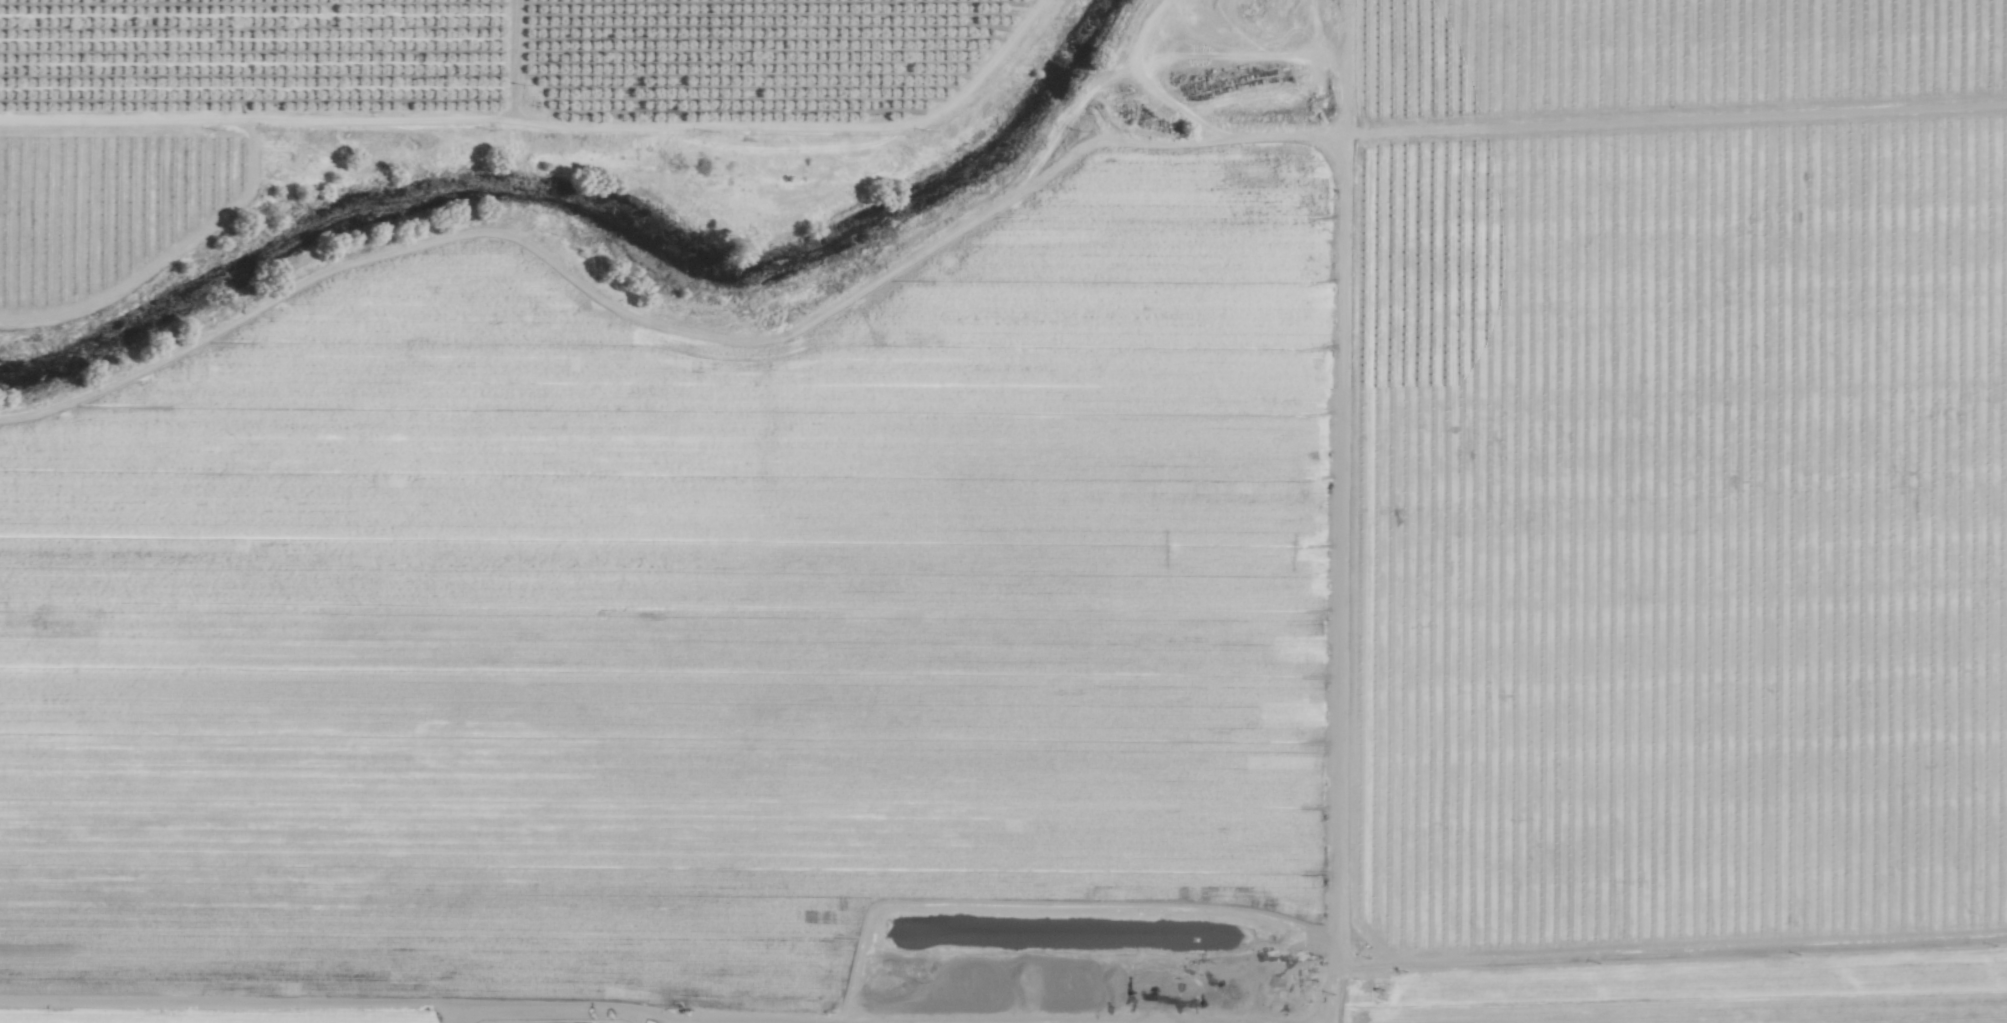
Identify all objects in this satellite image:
road: (542, 121)
road: (626, 1014)

